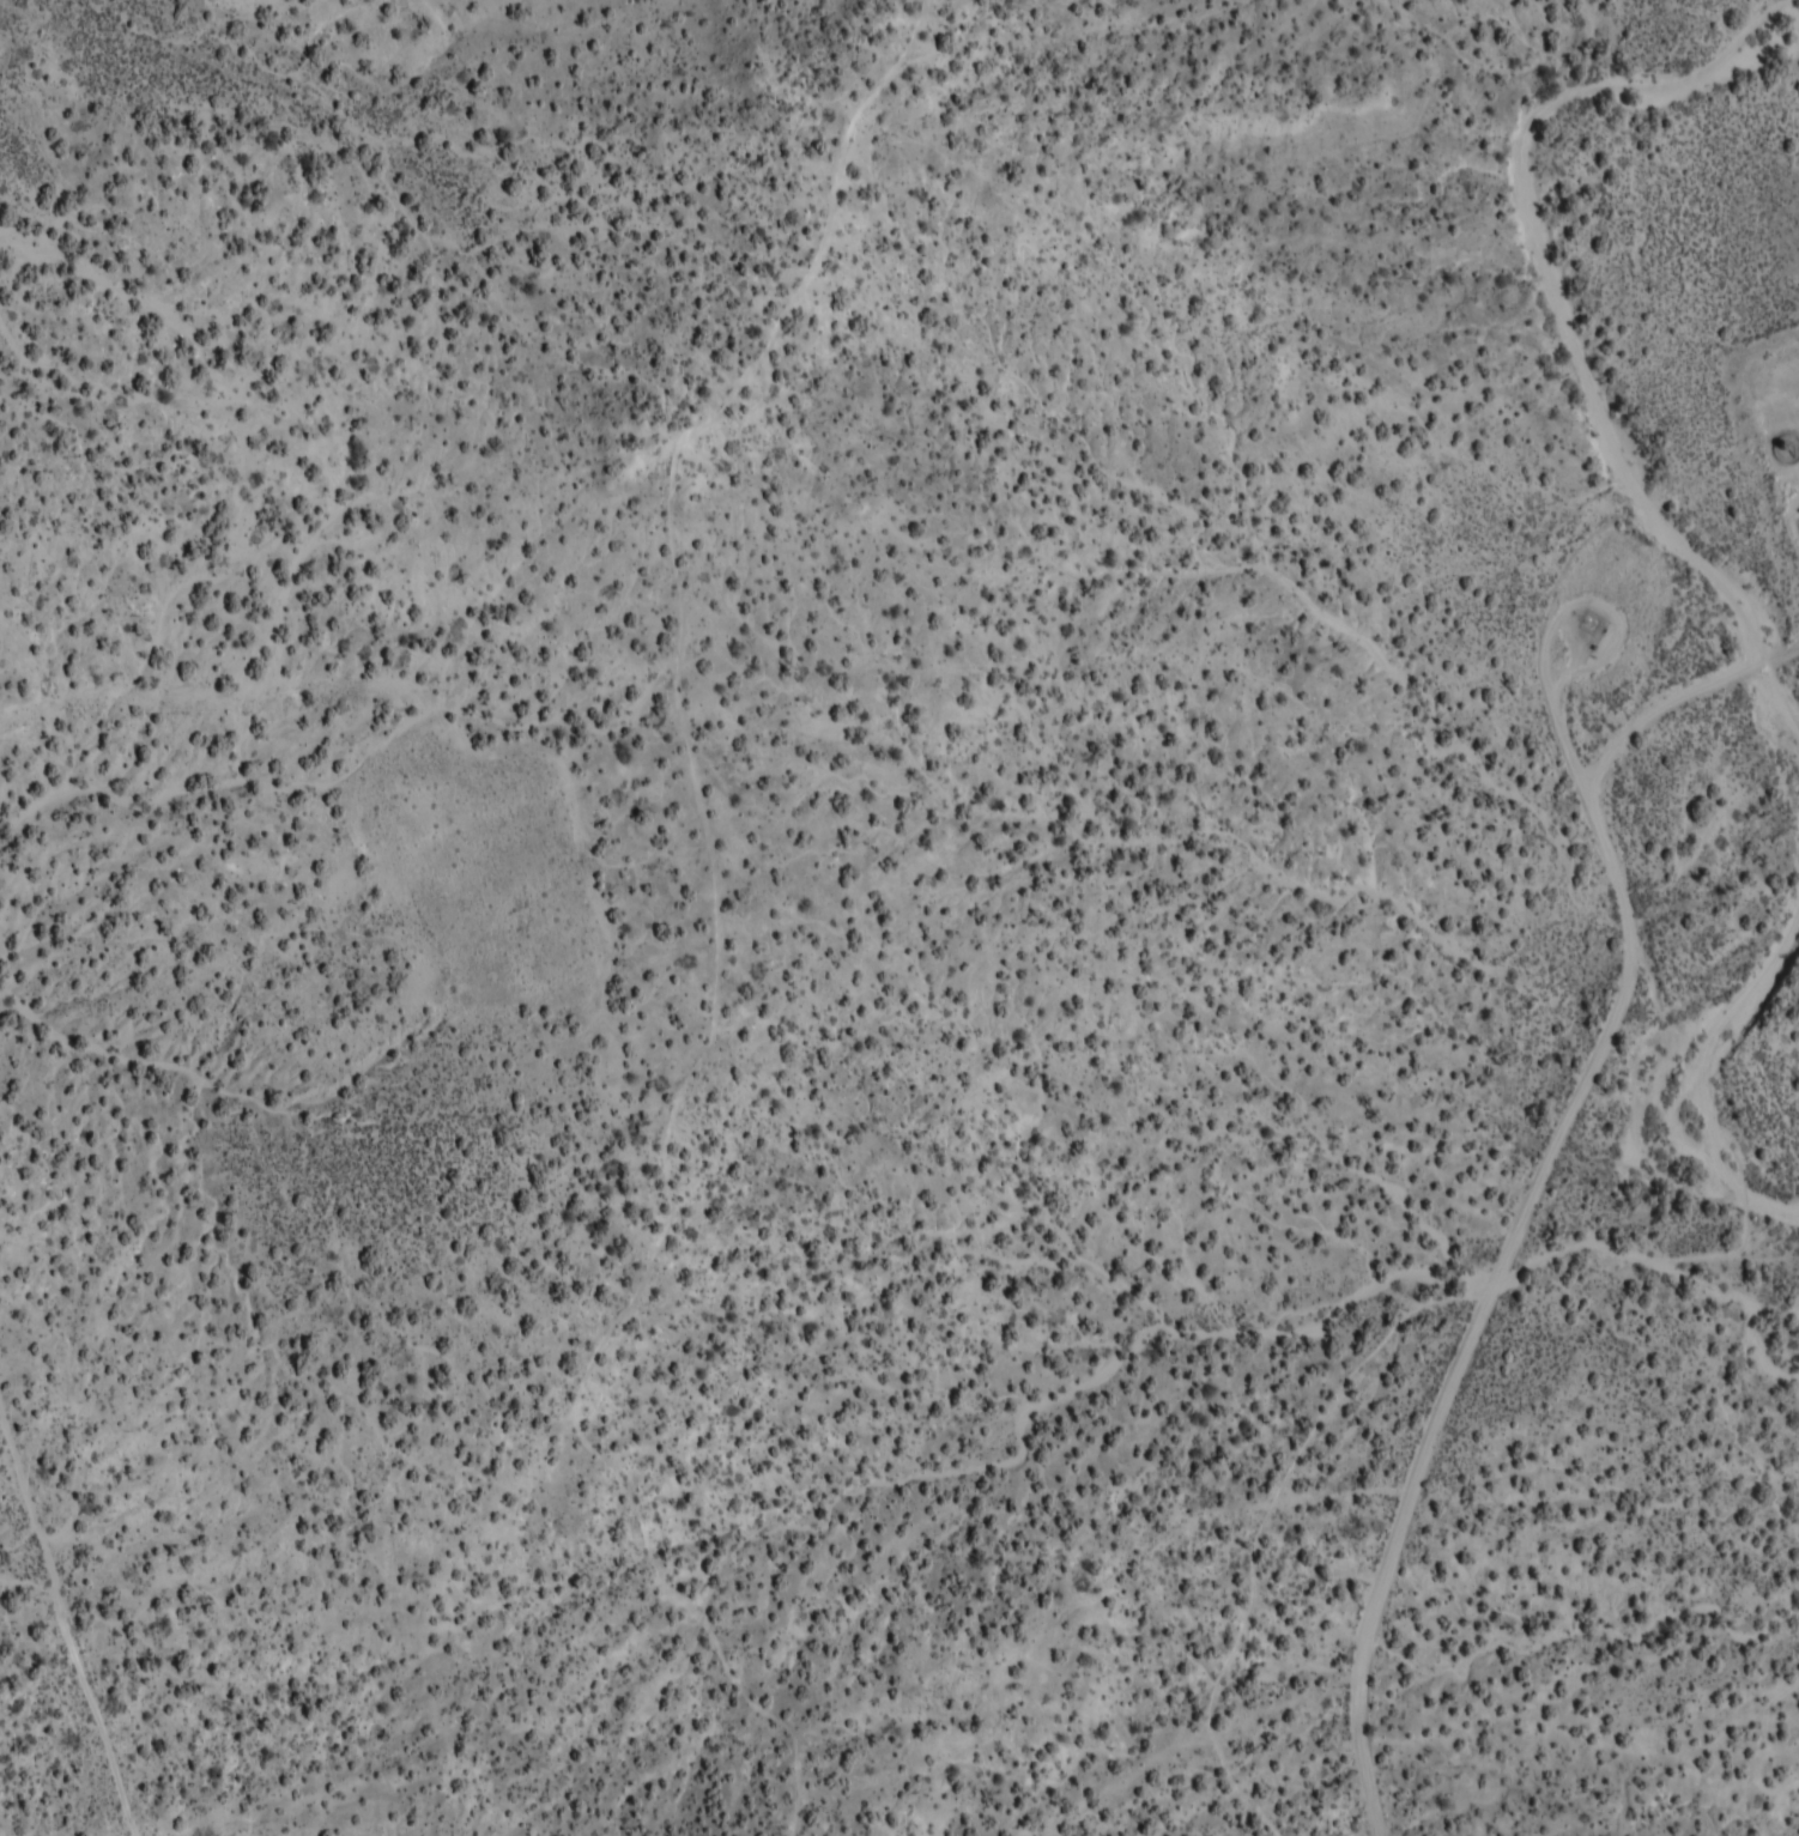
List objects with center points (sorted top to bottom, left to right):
river: (1585, 328)
river: (1698, 1065)

